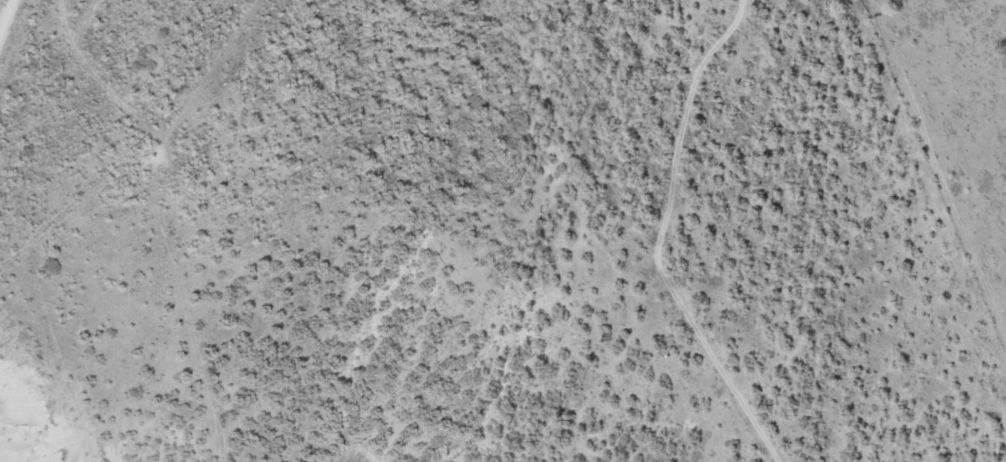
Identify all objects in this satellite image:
road: (1, 3)

